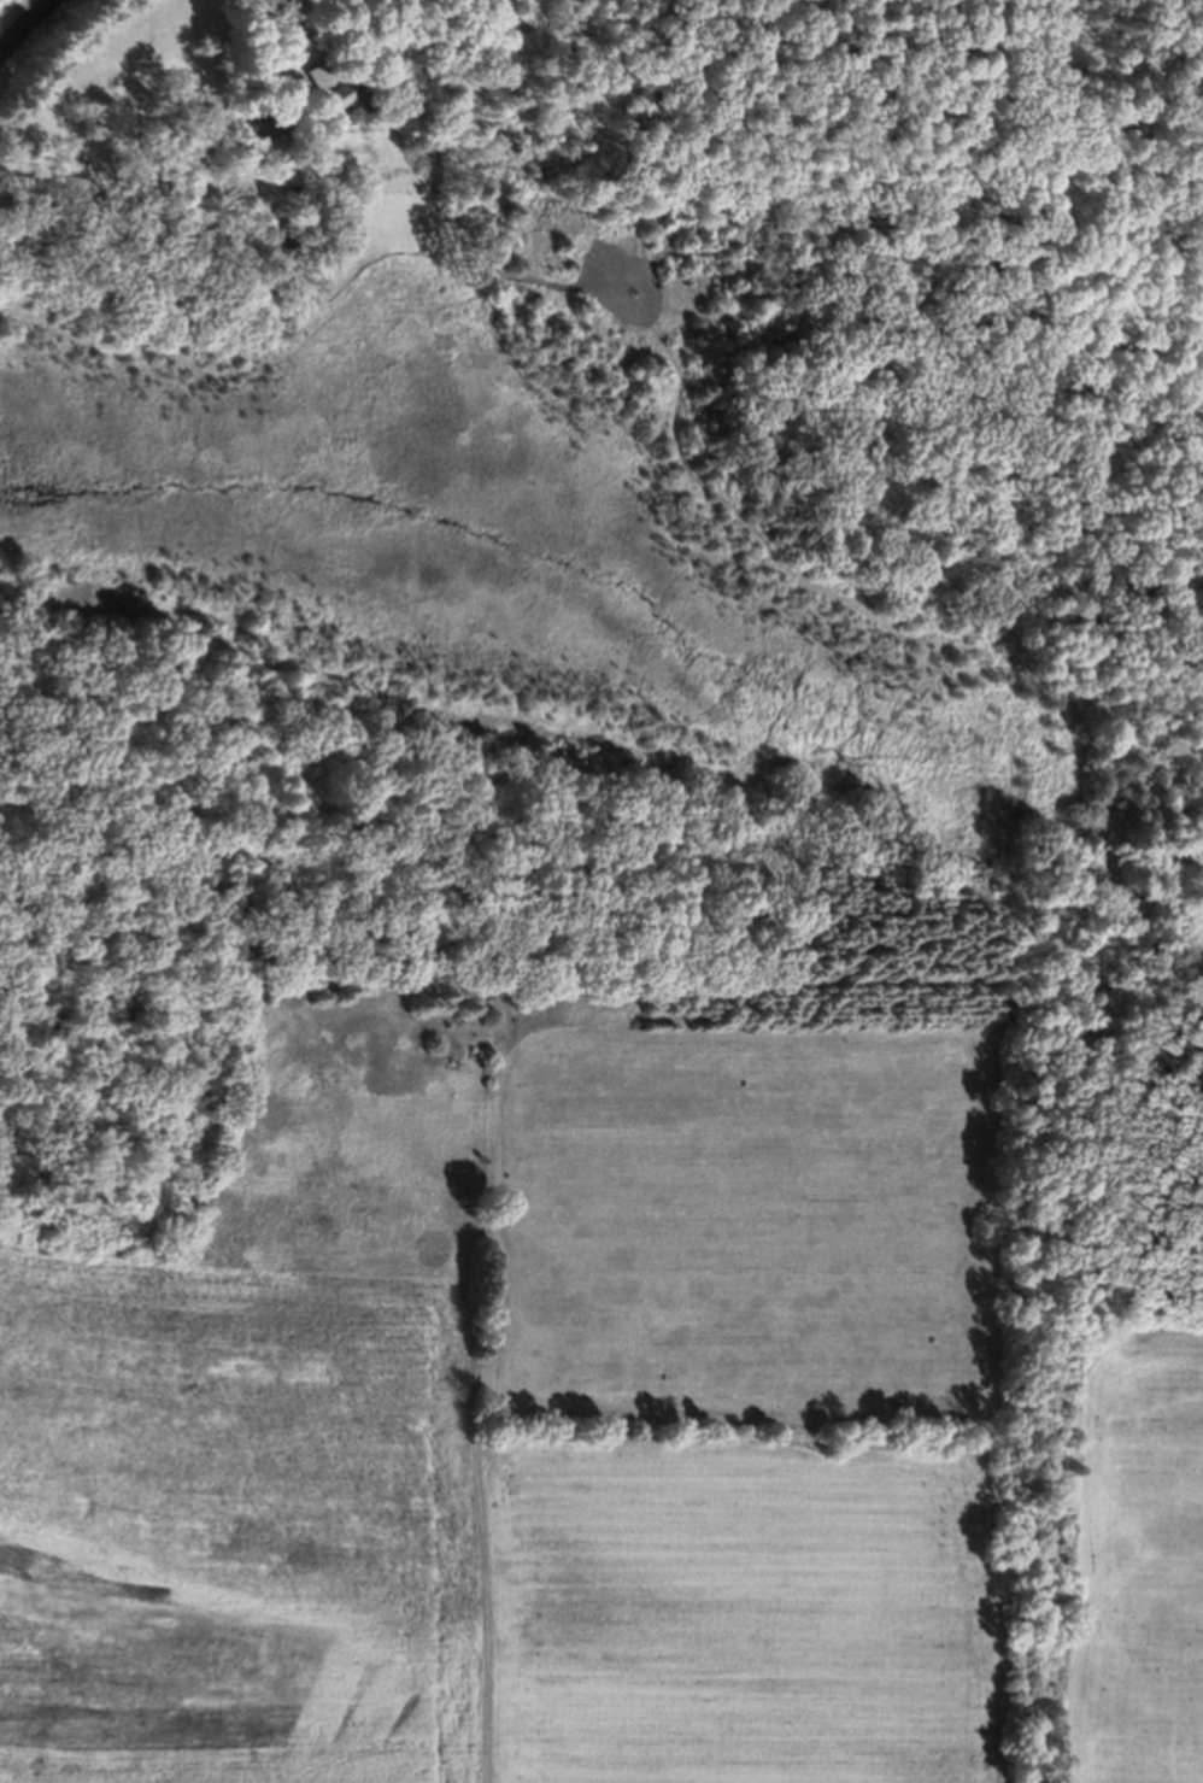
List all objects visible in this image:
road: (17, 18)
road: (95, 242)

